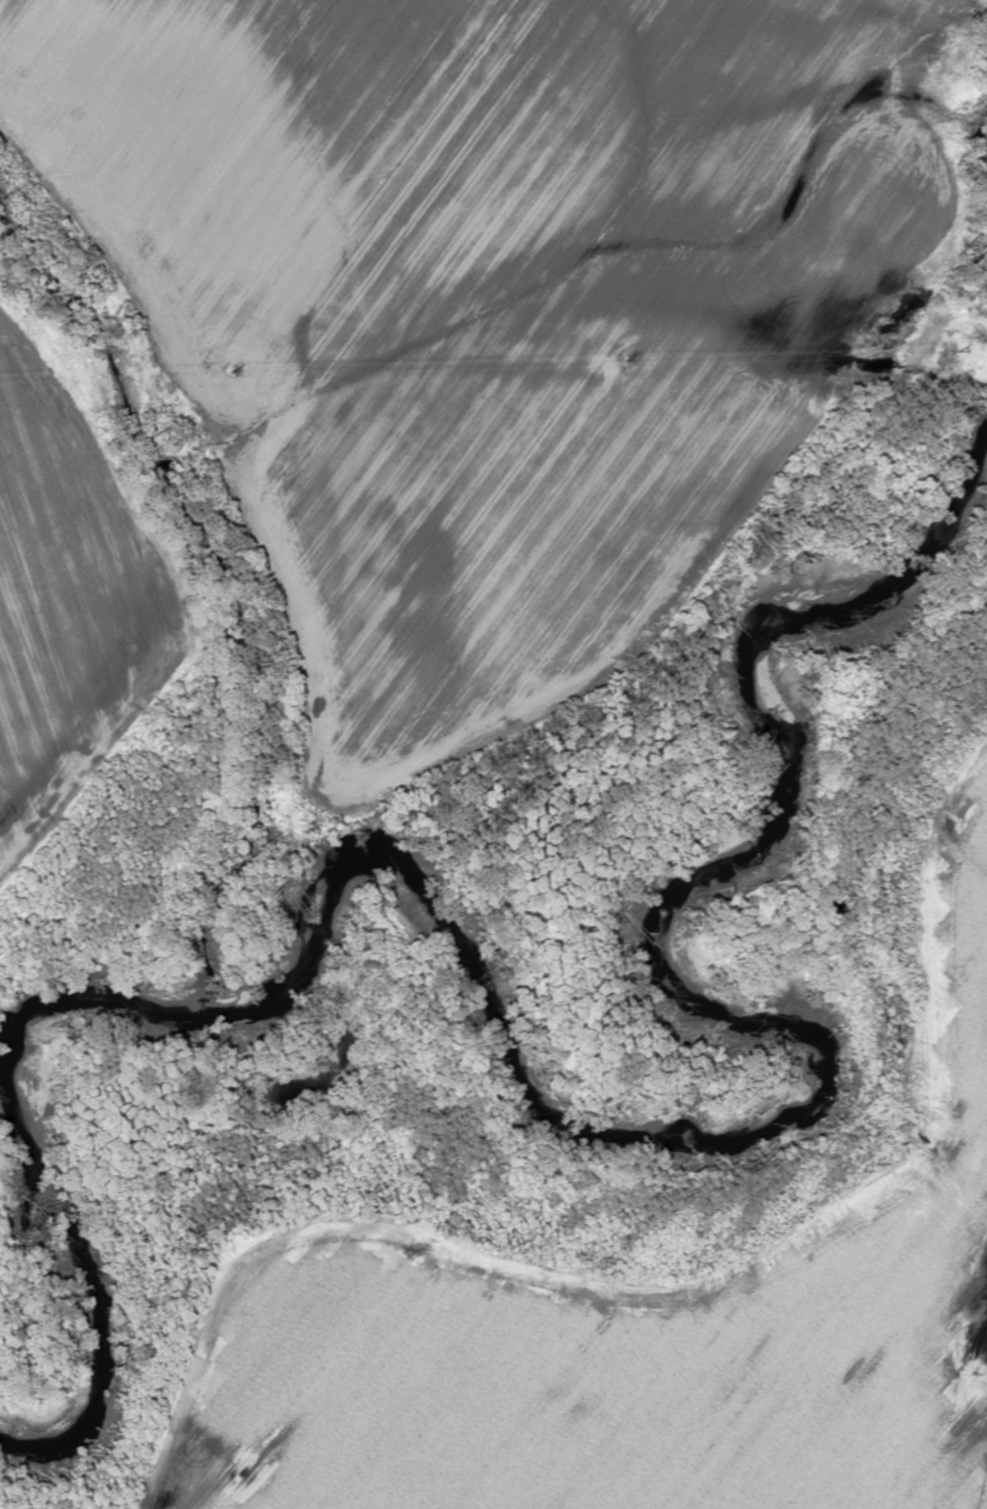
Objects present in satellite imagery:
power tower: (240, 369)
river: (771, 1088)
river: (74, 1291)

